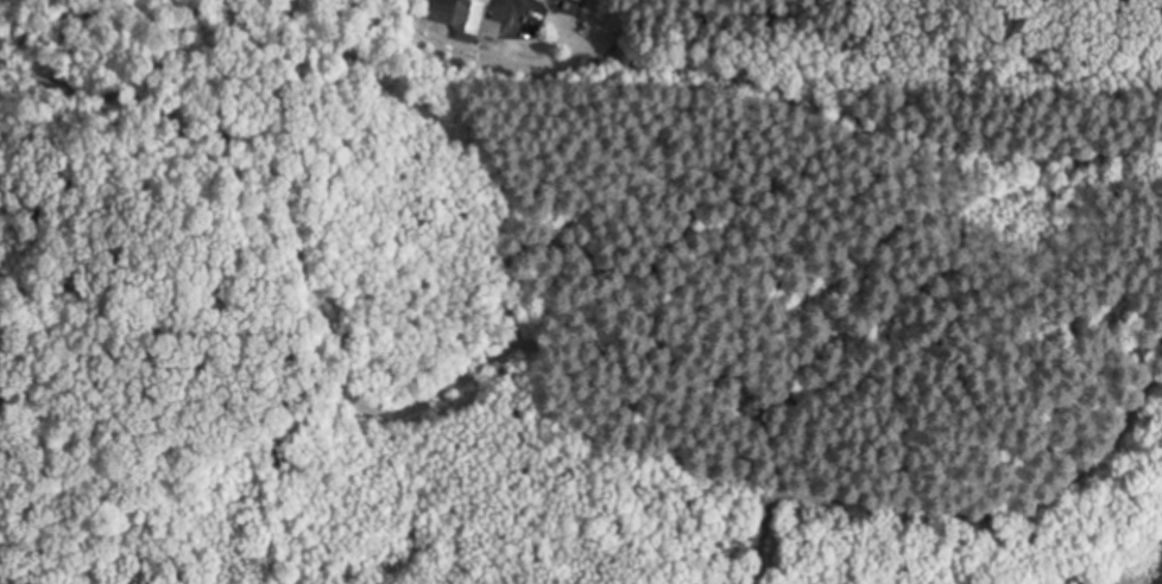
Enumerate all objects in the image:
building: (571, 0)
road: (510, 18)
building: (461, 19)

